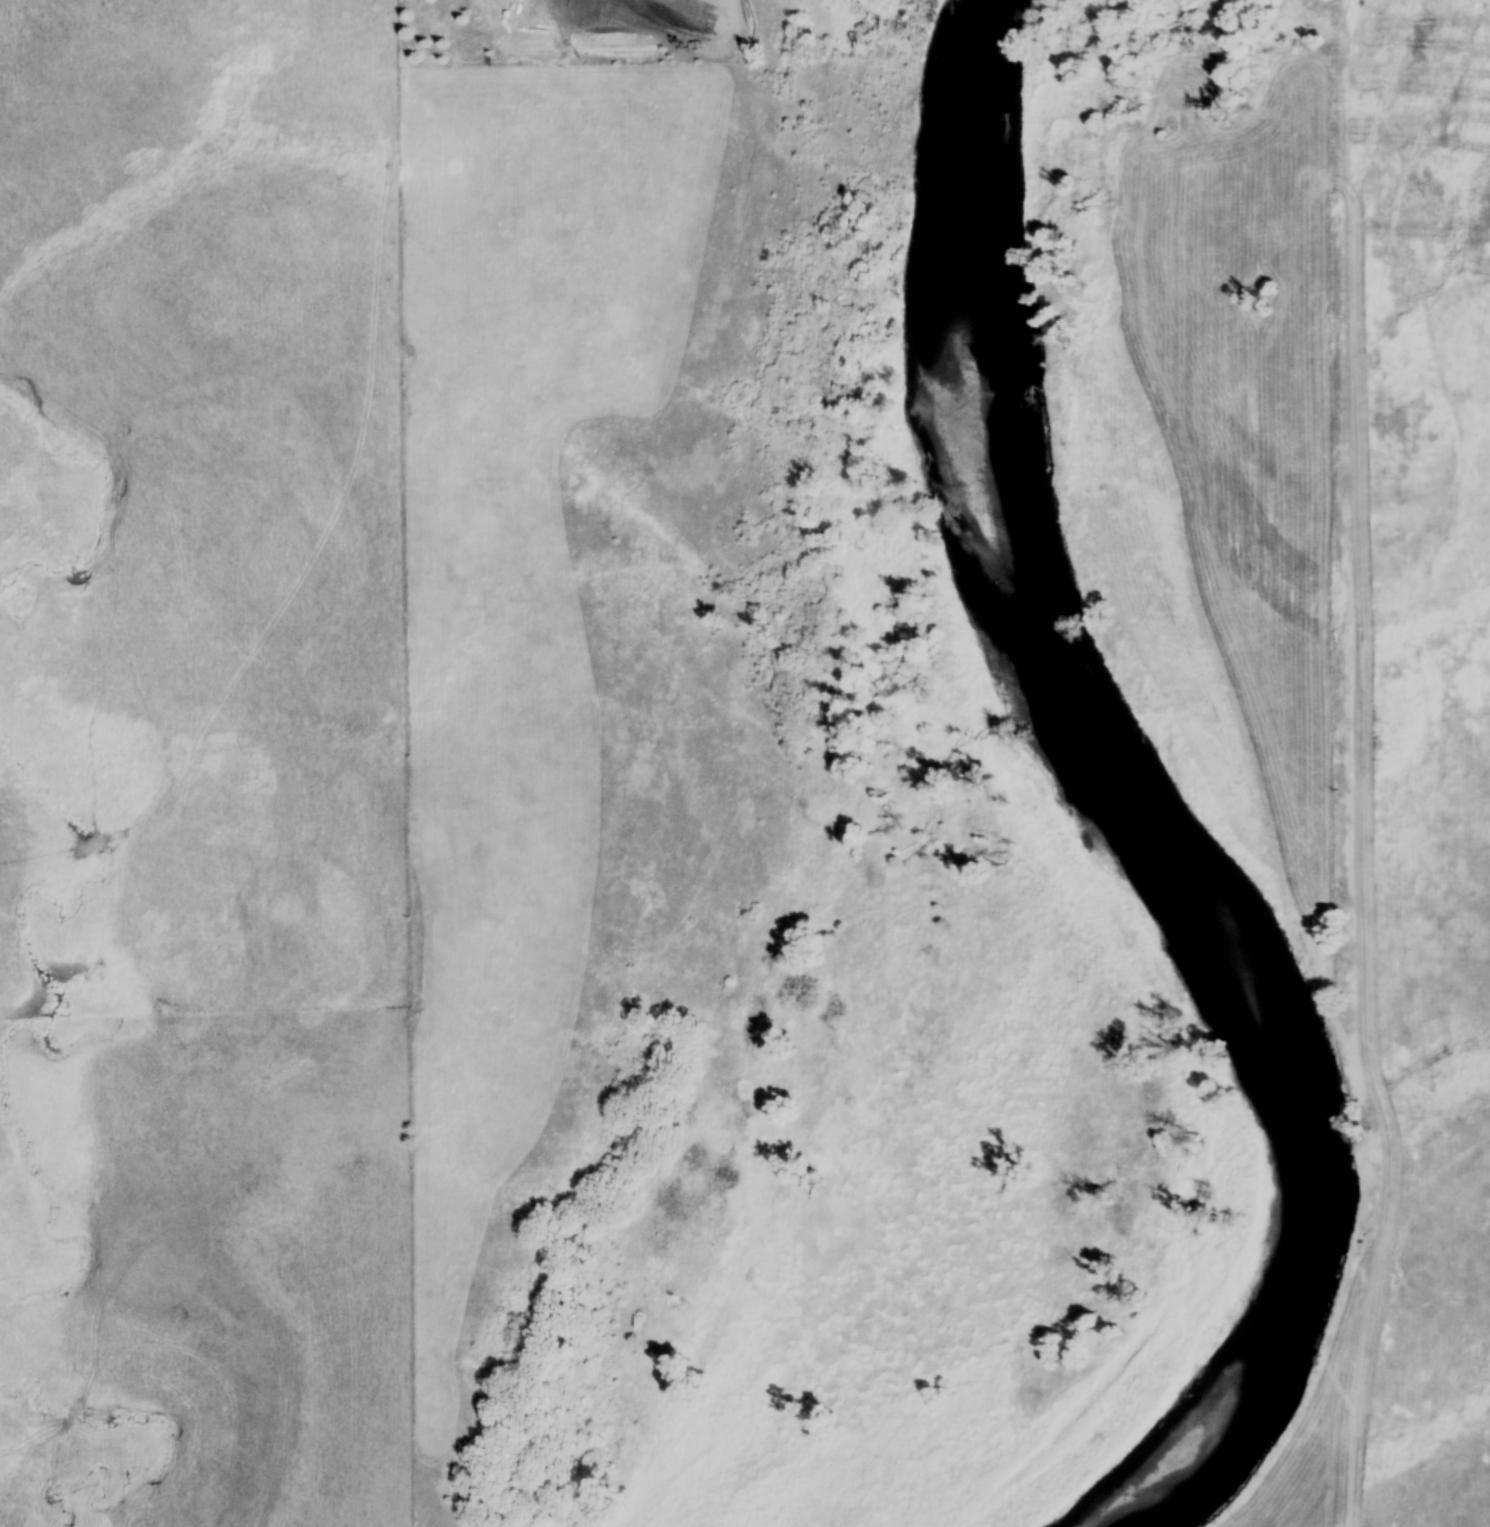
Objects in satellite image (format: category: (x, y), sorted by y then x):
river: (1150, 802)

